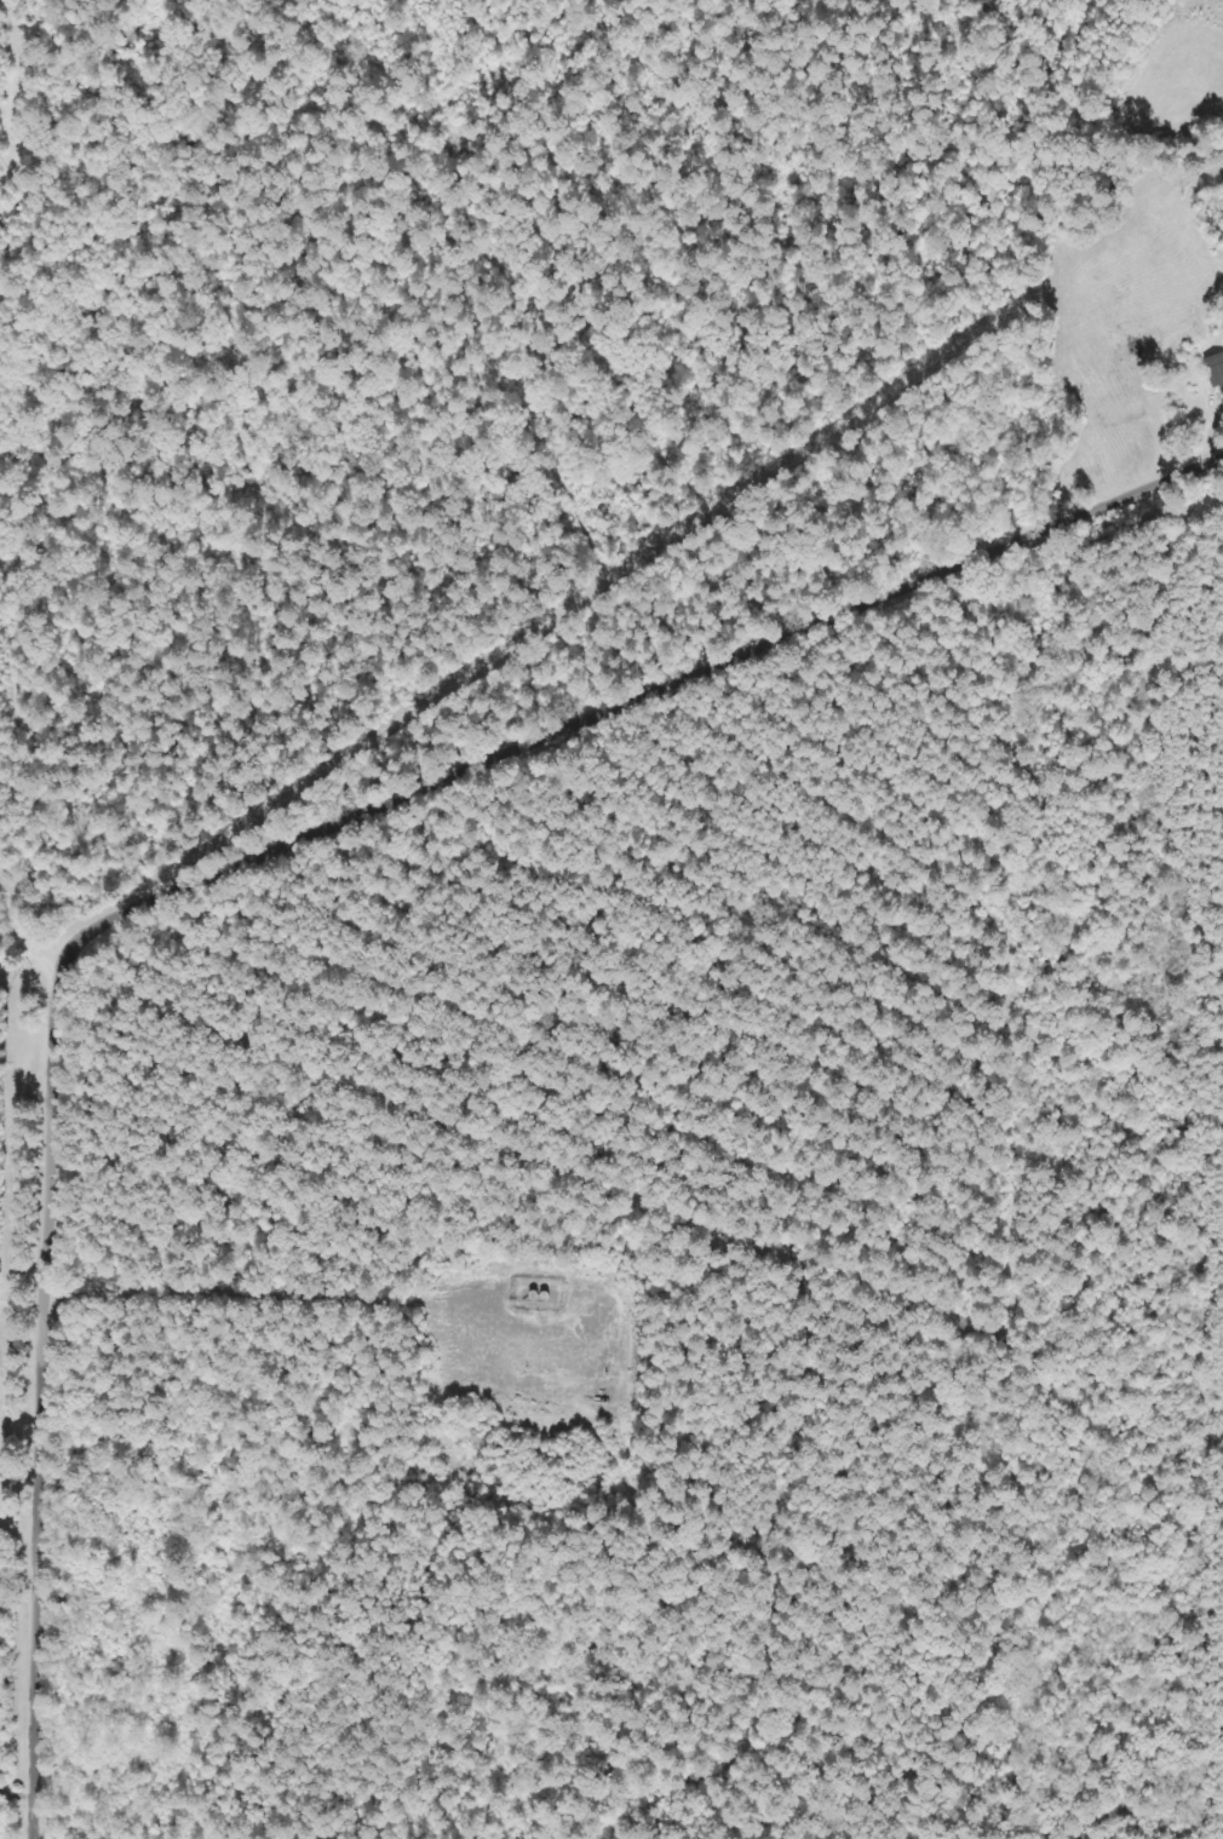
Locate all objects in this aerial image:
building: (1215, 372)
road: (216, 857)
road: (7, 1501)
road: (6, 1789)

